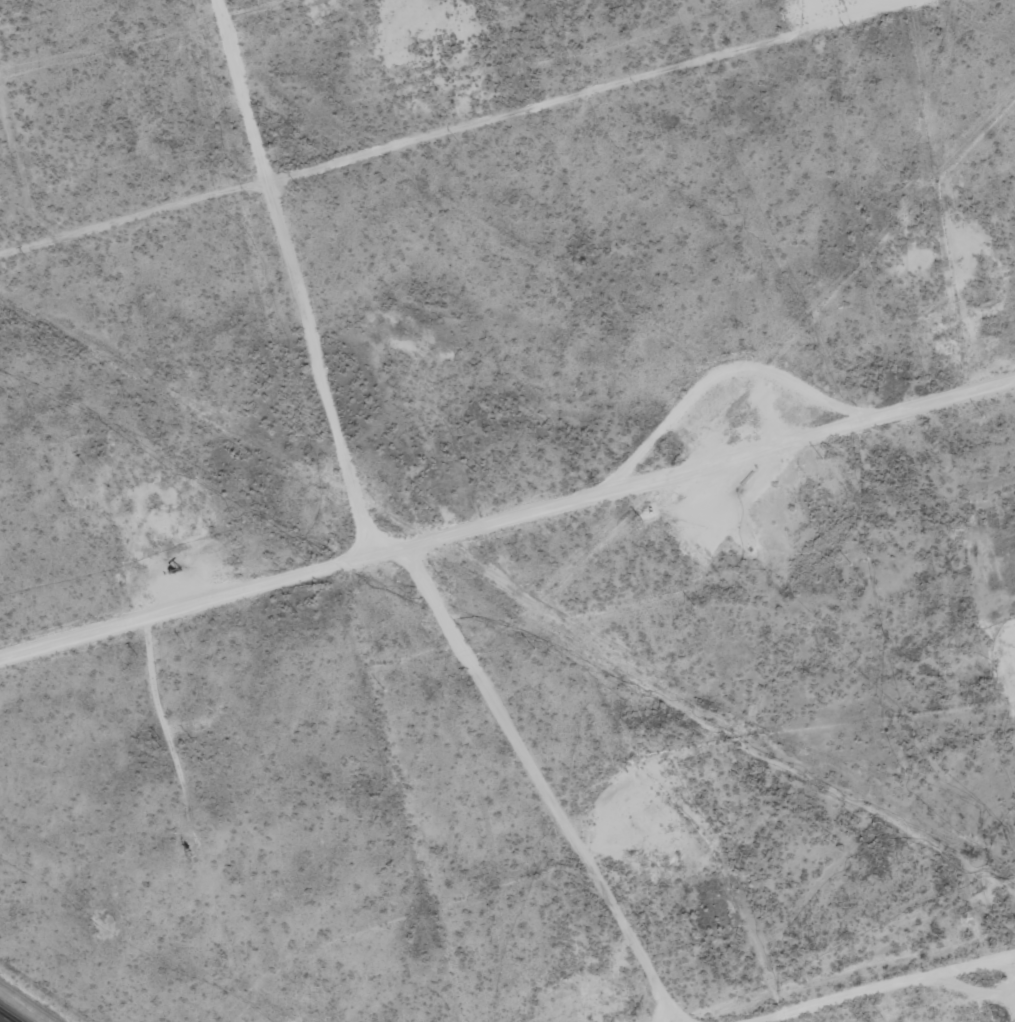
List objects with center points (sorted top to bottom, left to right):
road: (268, 277)
road: (506, 523)
road: (519, 784)
road: (934, 1002)
road: (5, 1018)

